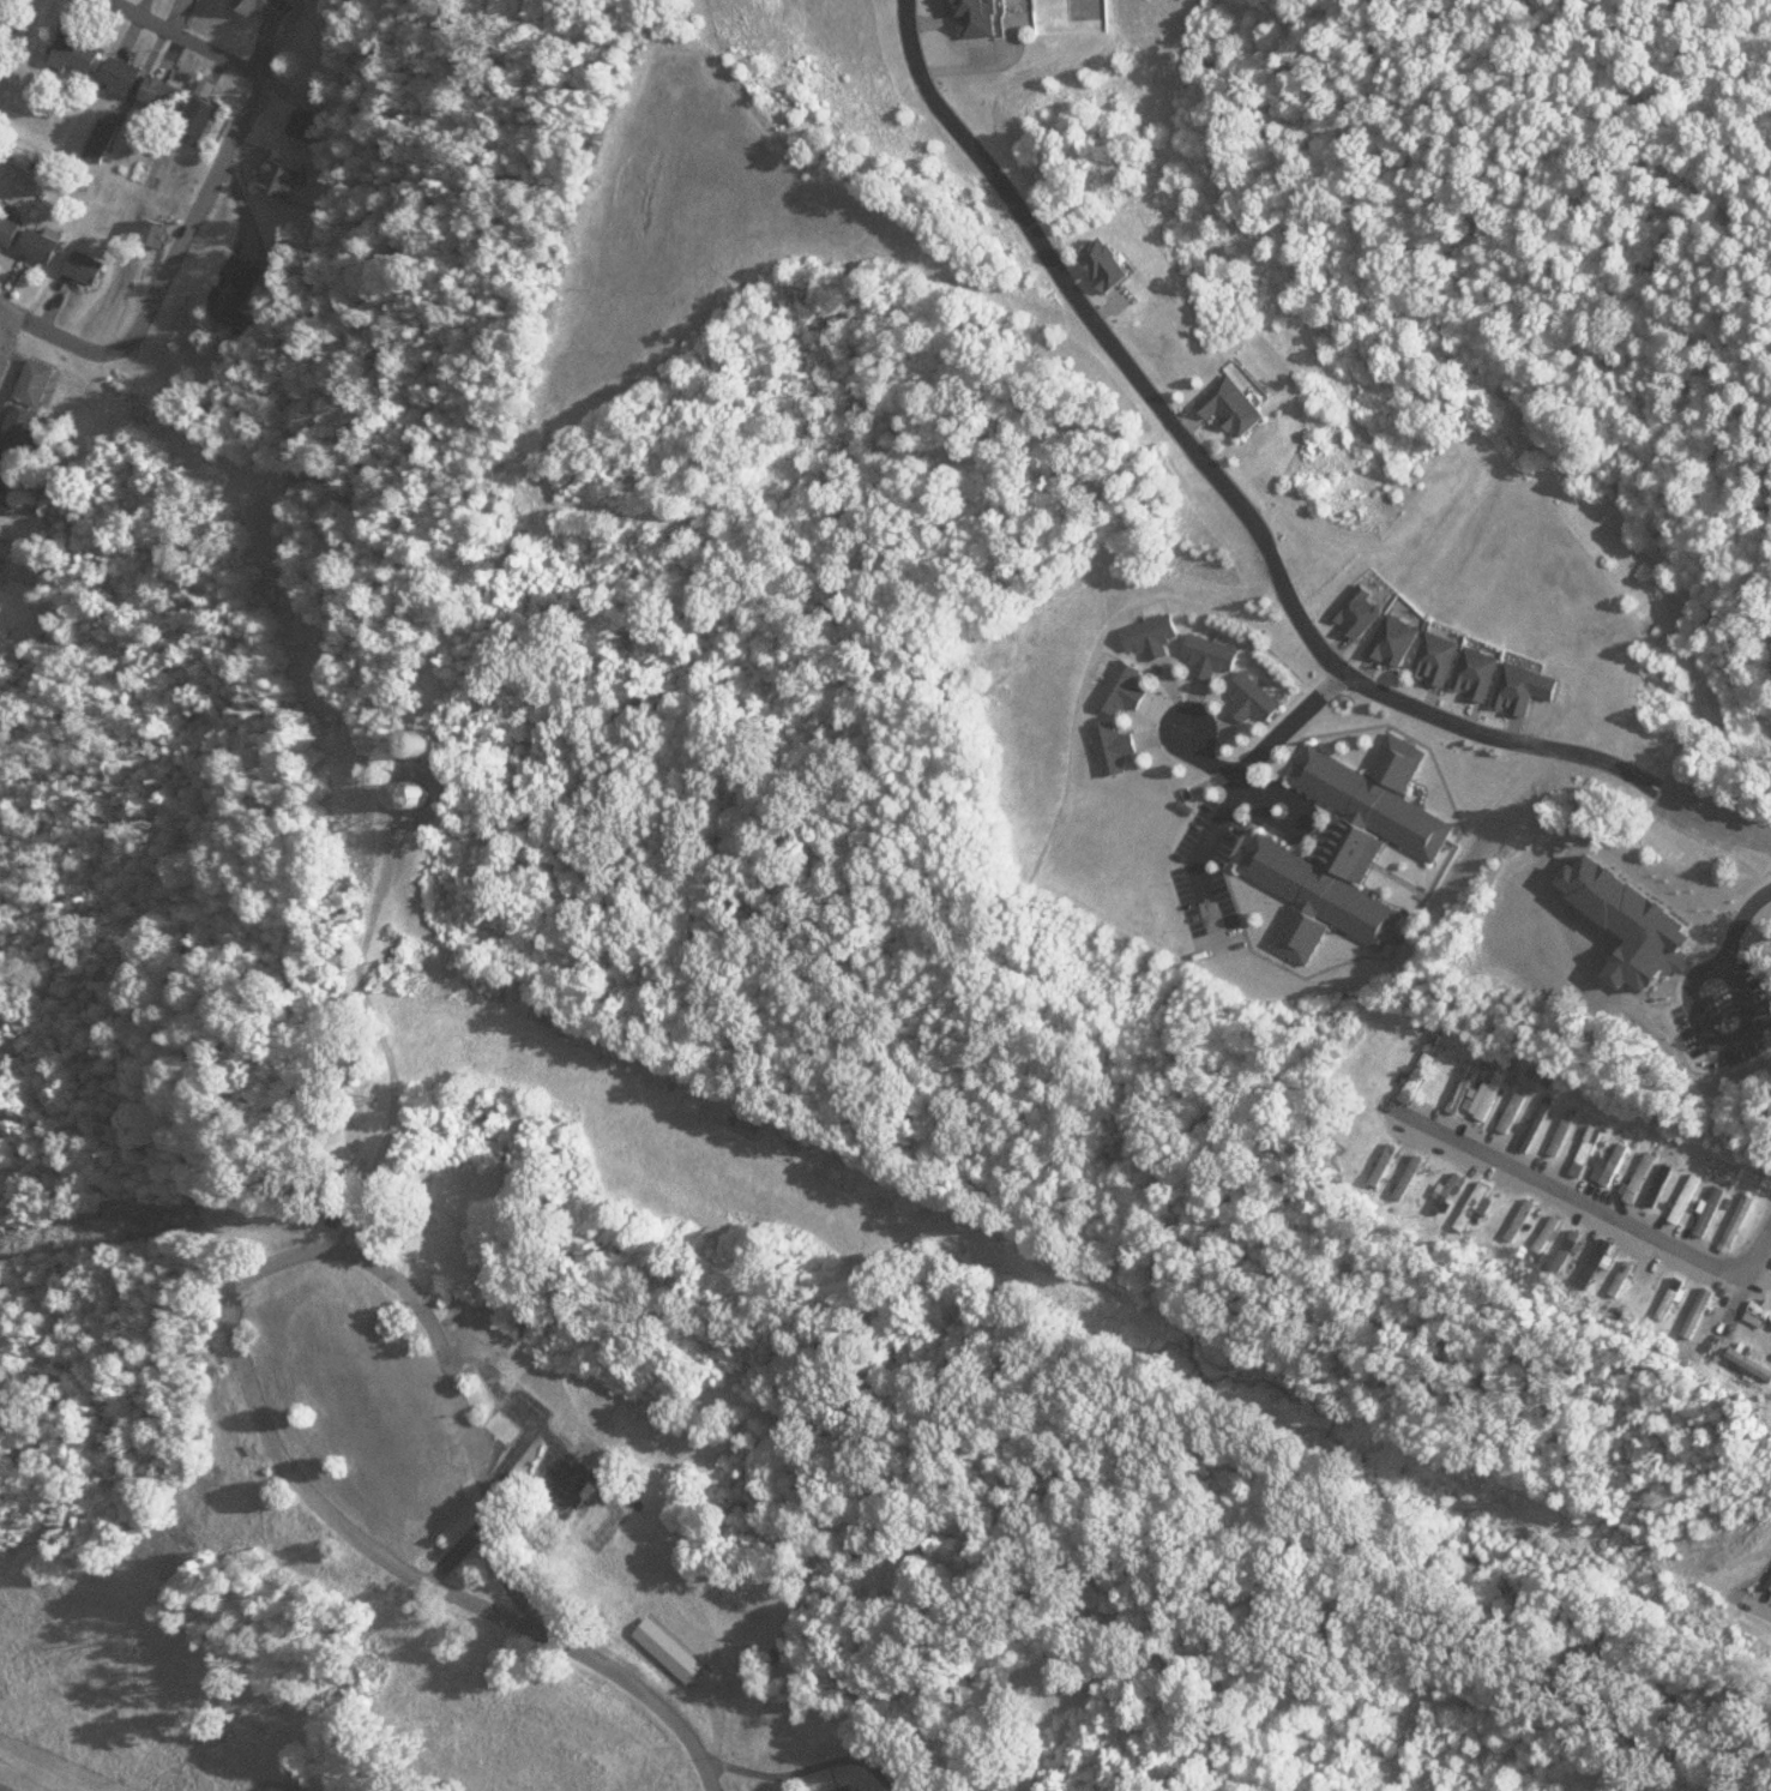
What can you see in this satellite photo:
building: (0, 0)
building: (272, 7)
building: (981, 18)
road: (180, 40)
building: (80, 53)
building: (125, 77)
building: (167, 94)
building: (206, 110)
building: (308, 125)
building: (285, 179)
road: (191, 221)
building: (10, 229)
building: (159, 233)
building: (43, 245)
building: (1112, 262)
building: (89, 266)
building: (239, 289)
road: (5, 327)
road: (54, 338)
building: (40, 381)
building: (1236, 407)
building: (24, 426)
building: (8, 469)
building: (2, 507)
road: (1251, 525)
building: (1, 573)
building: (1362, 611)
building: (1153, 636)
building: (1398, 641)
building: (1215, 655)
building: (1462, 666)
building: (1126, 690)
building: (1257, 699)
building: (422, 746)
building: (1116, 747)
road: (1236, 788)
building: (1351, 848)
building: (1699, 1003)
building: (1421, 1076)
building: (1465, 1082)
building: (1495, 1094)
building: (1516, 1112)
building: (1542, 1120)
building: (1566, 1134)
building: (1591, 1152)
building: (1618, 1162)
building: (1663, 1185)
road: (1568, 1190)
building: (1689, 1198)
building: (1713, 1212)
building: (1526, 1220)
building: (1741, 1222)
building: (1571, 1250)
road: (1745, 1279)
building: (1649, 1284)
building: (1770, 1286)
building: (1675, 1299)
building: (1764, 1309)
building: (1700, 1310)
building: (471, 1346)
building: (1752, 1362)
building: (402, 1393)
building: (341, 1408)
building: (506, 1429)
road: (393, 1565)
road: (652, 1707)
road: (7, 1787)
building: (843, 1789)

